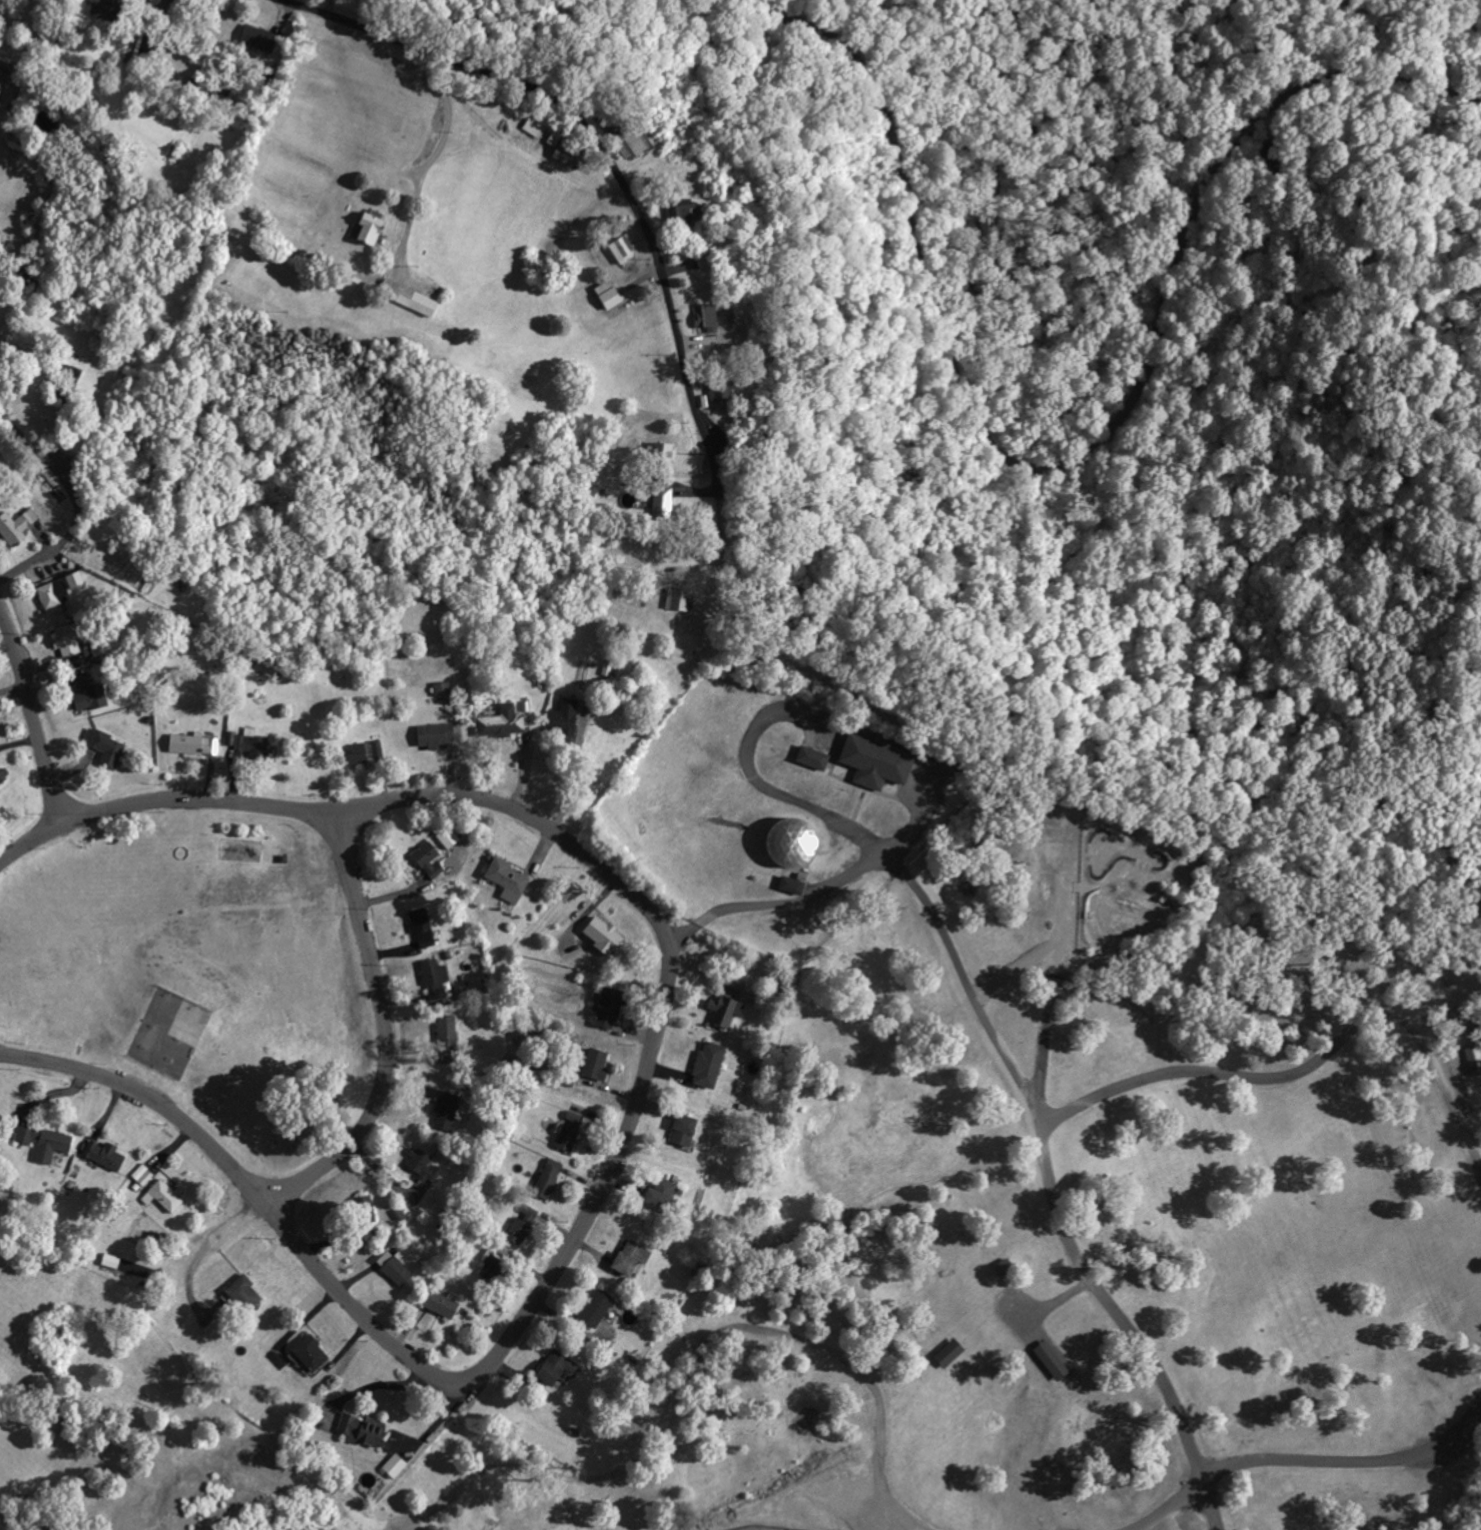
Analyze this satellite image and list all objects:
road: (778, 23)
road: (445, 125)
road: (622, 187)
road: (63, 540)
road: (34, 720)
road: (760, 720)
road: (568, 775)
road: (346, 813)
park: (166, 1027)
road: (380, 1032)
building: (1471, 1054)
road: (1312, 1059)
road: (609, 1172)
road: (253, 1190)
park: (941, 1200)
road: (1070, 1242)
building: (1002, 1265)
road: (1044, 1303)
building: (946, 1352)
building: (1048, 1359)
road: (689, 1368)
road: (378, 1383)
road: (1307, 1458)
parking lot: (865, 1510)
park: (761, 1528)

